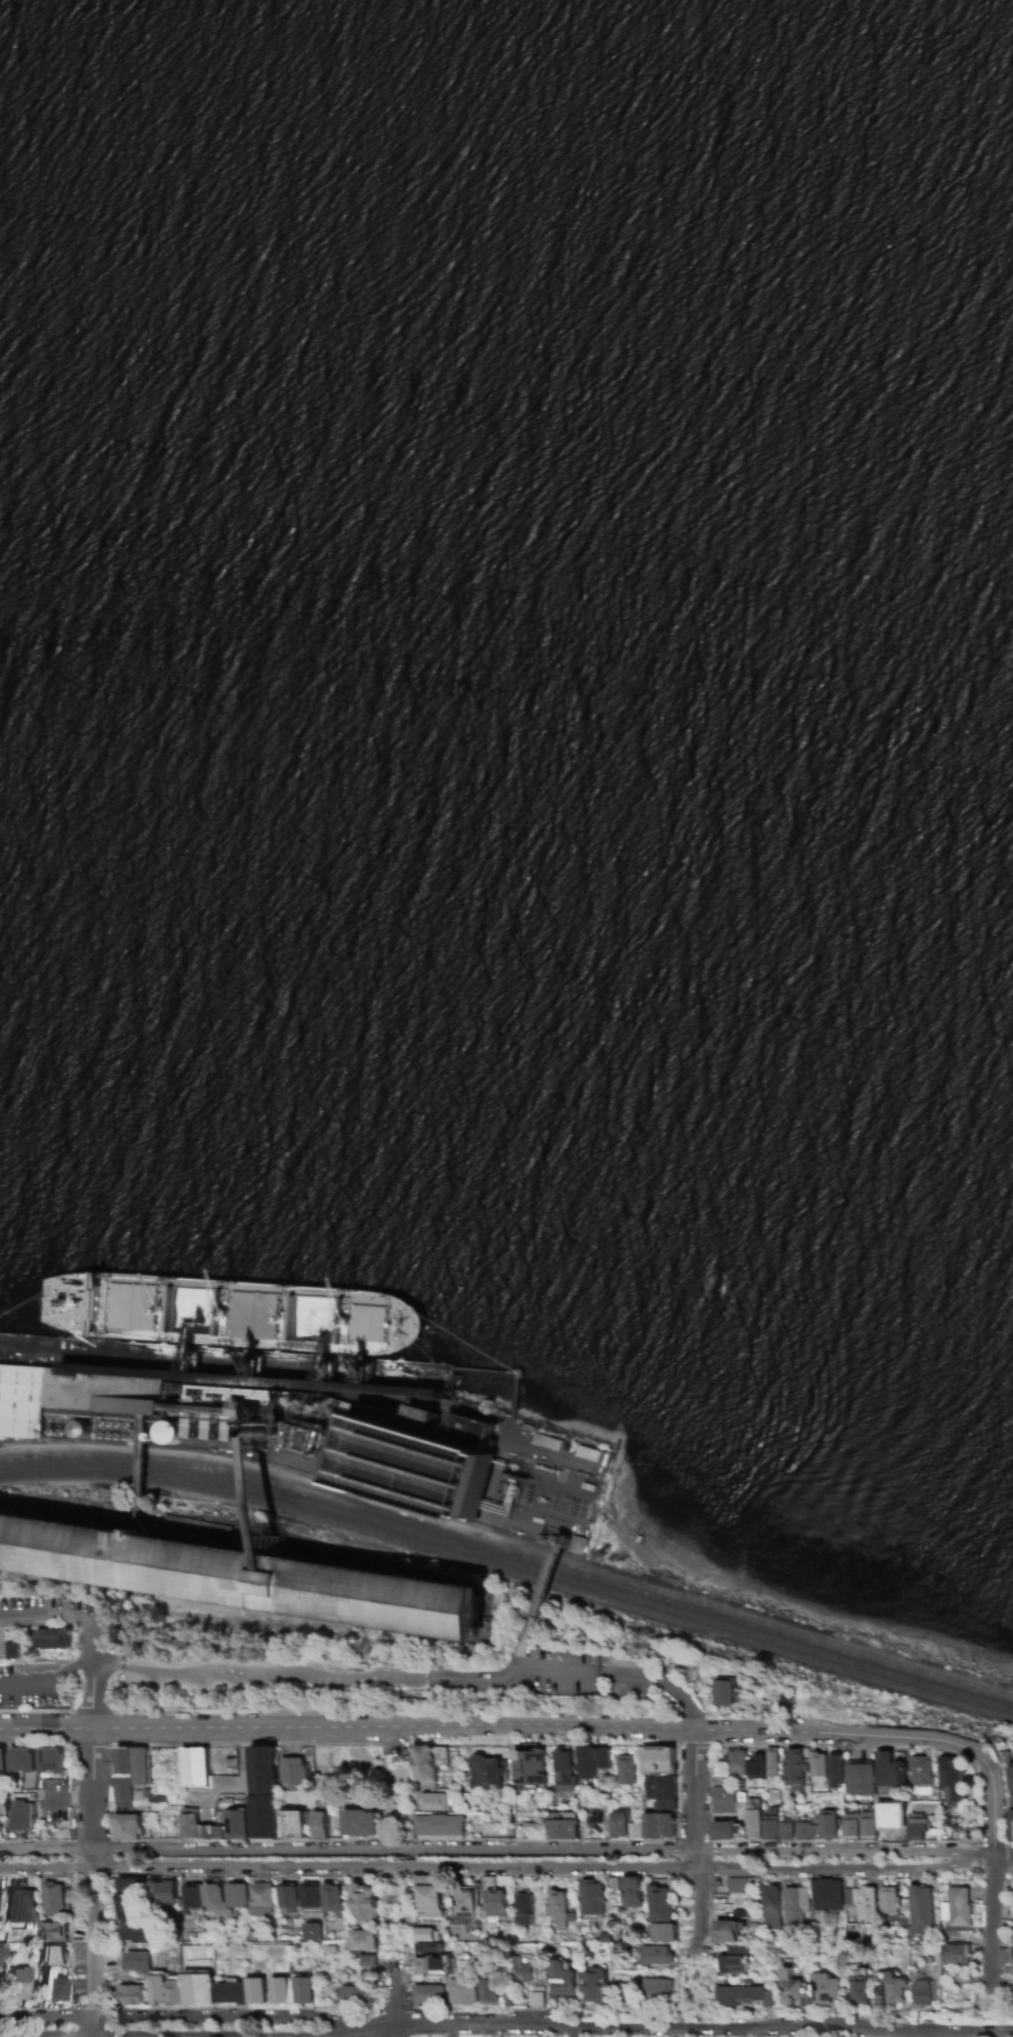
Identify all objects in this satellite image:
building: (24, 1401)
chimney: (292, 1434)
building: (424, 1461)
power plant: (442, 1463)
railway: (272, 1484)
power substation: (546, 1490)
railway: (510, 1562)
railway: (511, 1571)
building: (239, 1572)
railway: (593, 1572)
road: (547, 1581)
road: (47, 1617)
railway: (774, 1632)
building: (53, 1638)
railway: (830, 1639)
road: (522, 1642)
building: (11, 1650)
road: (360, 1677)
road: (61, 1679)
road: (661, 1681)
building: (723, 1691)
road: (503, 1730)
building: (19, 1760)
building: (658, 1760)
building: (591, 1761)
building: (772, 1762)
building: (2, 1764)
building: (427, 1764)
building: (746, 1764)
building: (818, 1766)
building: (195, 1767)
building: (529, 1767)
building: (793, 1769)
building: (625, 1770)
building: (835, 1770)
building: (563, 1771)
building: (890, 1771)
building: (921, 1771)
building: (293, 1772)
building: (130, 1773)
building: (485, 1773)
building: (1010, 1776)
building: (859, 1779)
building: (951, 1782)
building: (264, 1791)
building: (660, 1791)
road: (69, 1797)
building: (728, 1800)
building: (434, 1802)
building: (23, 1815)
road: (992, 1817)
building: (1011, 1818)
building: (753, 1819)
building: (237, 1824)
building: (361, 1824)
building: (618, 1825)
road: (93, 1826)
building: (197, 1826)
building: (859, 1826)
building: (128, 1827)
building: (297, 1827)
building: (443, 1827)
building: (653, 1827)
building: (818, 1827)
building: (323, 1828)
building: (770, 1828)
building: (561, 1829)
building: (786, 1829)
building: (917, 1829)
building: (723, 1830)
road: (696, 1842)
road: (496, 1845)
road: (1002, 1860)
road: (496, 1869)
building: (736, 1885)
building: (164, 1892)
building: (631, 1892)
building: (193, 1895)
building: (236, 1895)
building: (827, 1895)
building: (312, 1897)
building: (591, 1897)
building: (214, 1898)
building: (290, 1898)
building: (52, 1899)
building: (130, 1899)
building: (261, 1899)
building: (333, 1899)
building: (889, 1900)
building: (462, 1901)
building: (364, 1903)
building: (433, 1903)
building: (658, 1904)
building: (794, 1905)
building: (865, 1905)
building: (20, 1906)
building: (957, 1907)
building: (558, 1908)
building: (770, 1908)
building: (523, 1909)
building: (920, 1910)
road: (991, 1925)
building: (727, 1930)
building: (53, 1932)
building: (138, 1932)
building: (311, 1932)
building: (661, 1932)
building: (429, 1937)
building: (365, 1943)
building: (955, 1954)
building: (1, 1955)
building: (51, 1955)
building: (655, 1955)
building: (1012, 1955)
building: (431, 1959)
building: (368, 1960)
building: (732, 1960)
building: (137, 1962)
building: (520, 1971)
building: (561, 1980)
building: (17, 1983)
building: (594, 1986)
building: (51, 1987)
building: (656, 1988)
building: (198, 1989)
building: (303, 1989)
building: (165, 1990)
building: (278, 1990)
building: (791, 1990)
building: (826, 1990)
building: (858, 1990)
building: (255, 1991)
building: (488, 1991)
building: (891, 1991)
building: (463, 1992)
building: (231, 1993)
building: (921, 1993)
building: (129, 1995)
building: (355, 1995)
building: (429, 1995)
building: (744, 1996)
road: (394, 1997)
building: (537, 1997)
road: (393, 2028)
road: (703, 2028)
road: (275, 2035)

